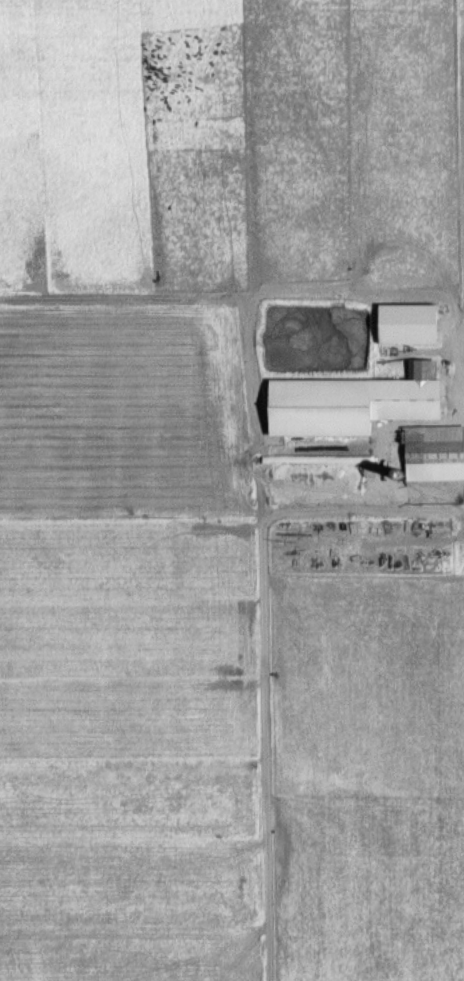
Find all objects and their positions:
building: (411, 324)
building: (415, 417)

